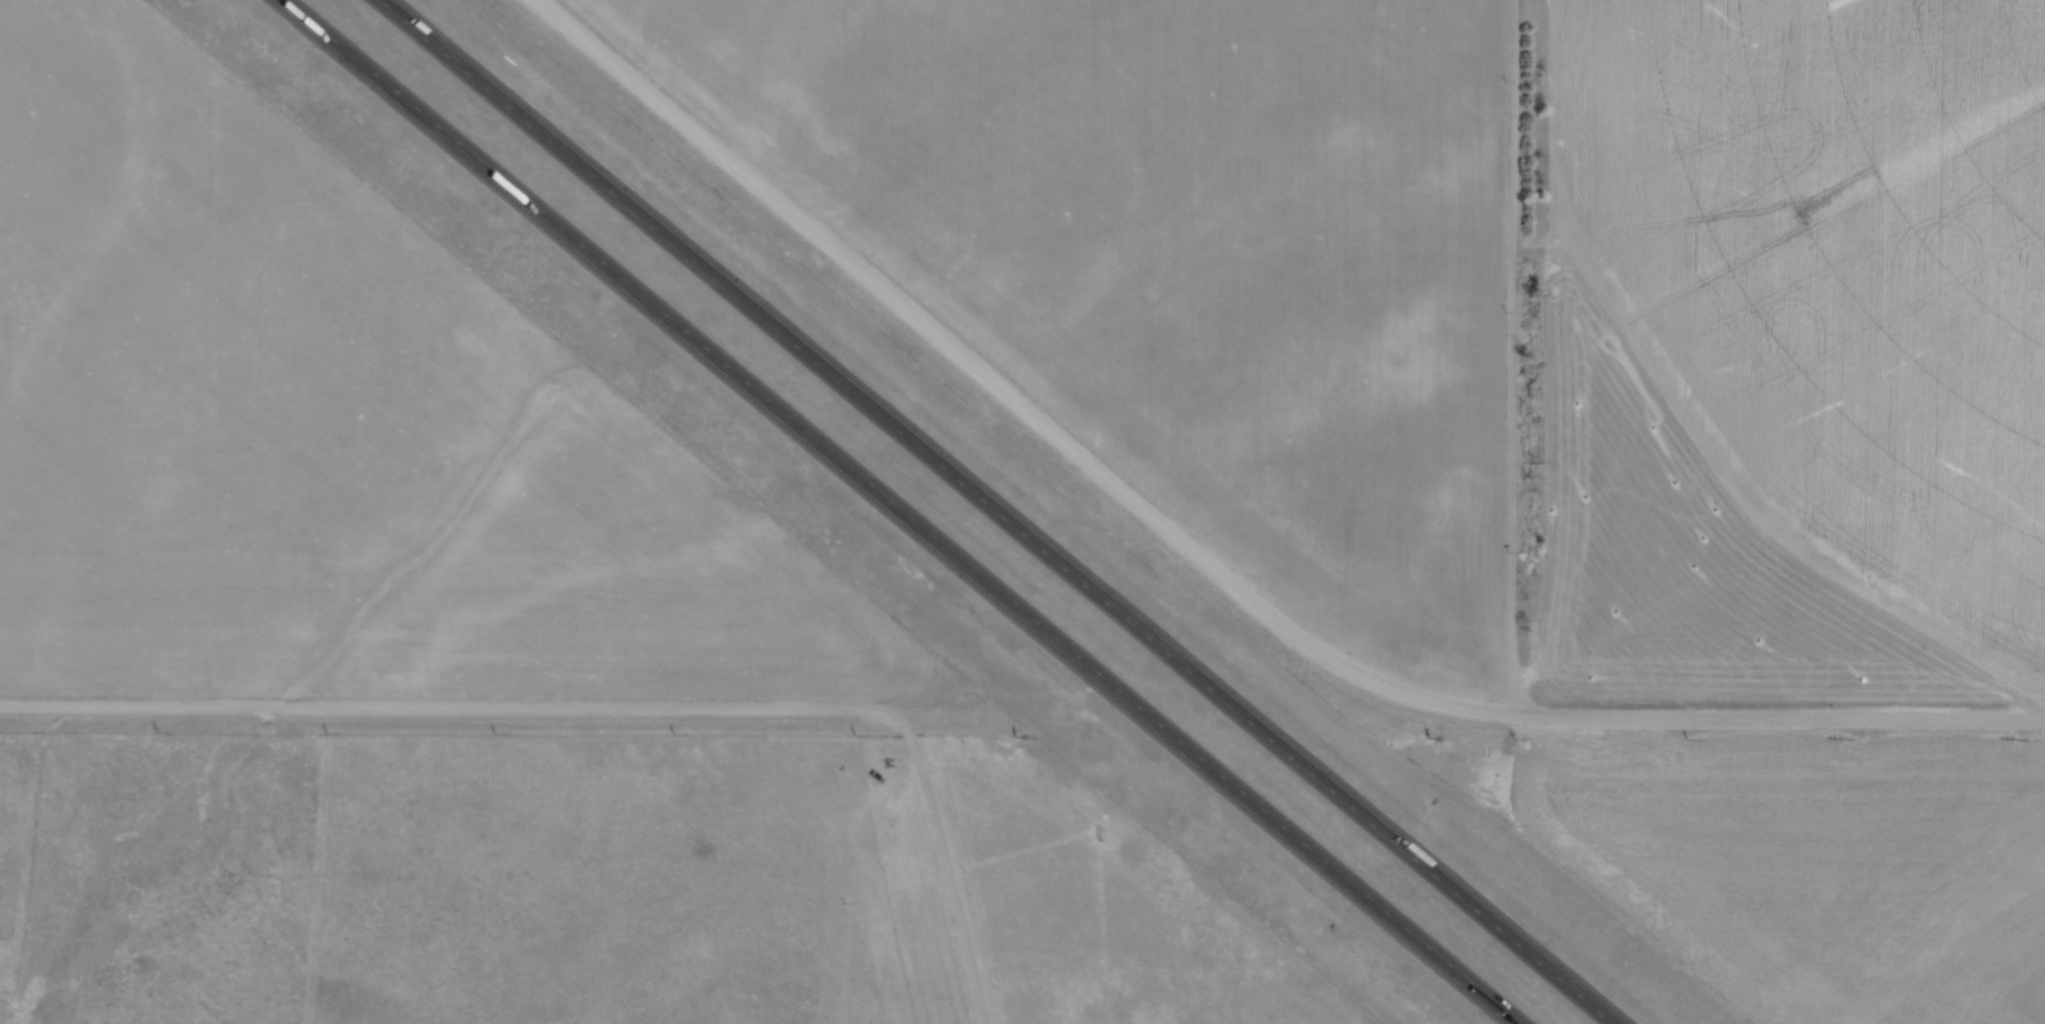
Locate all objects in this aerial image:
crop: (1184, 254)
crop: (1797, 350)
crop: (329, 438)
road: (903, 511)
road: (998, 511)
road: (1200, 569)
road: (606, 715)
crop: (1813, 868)

